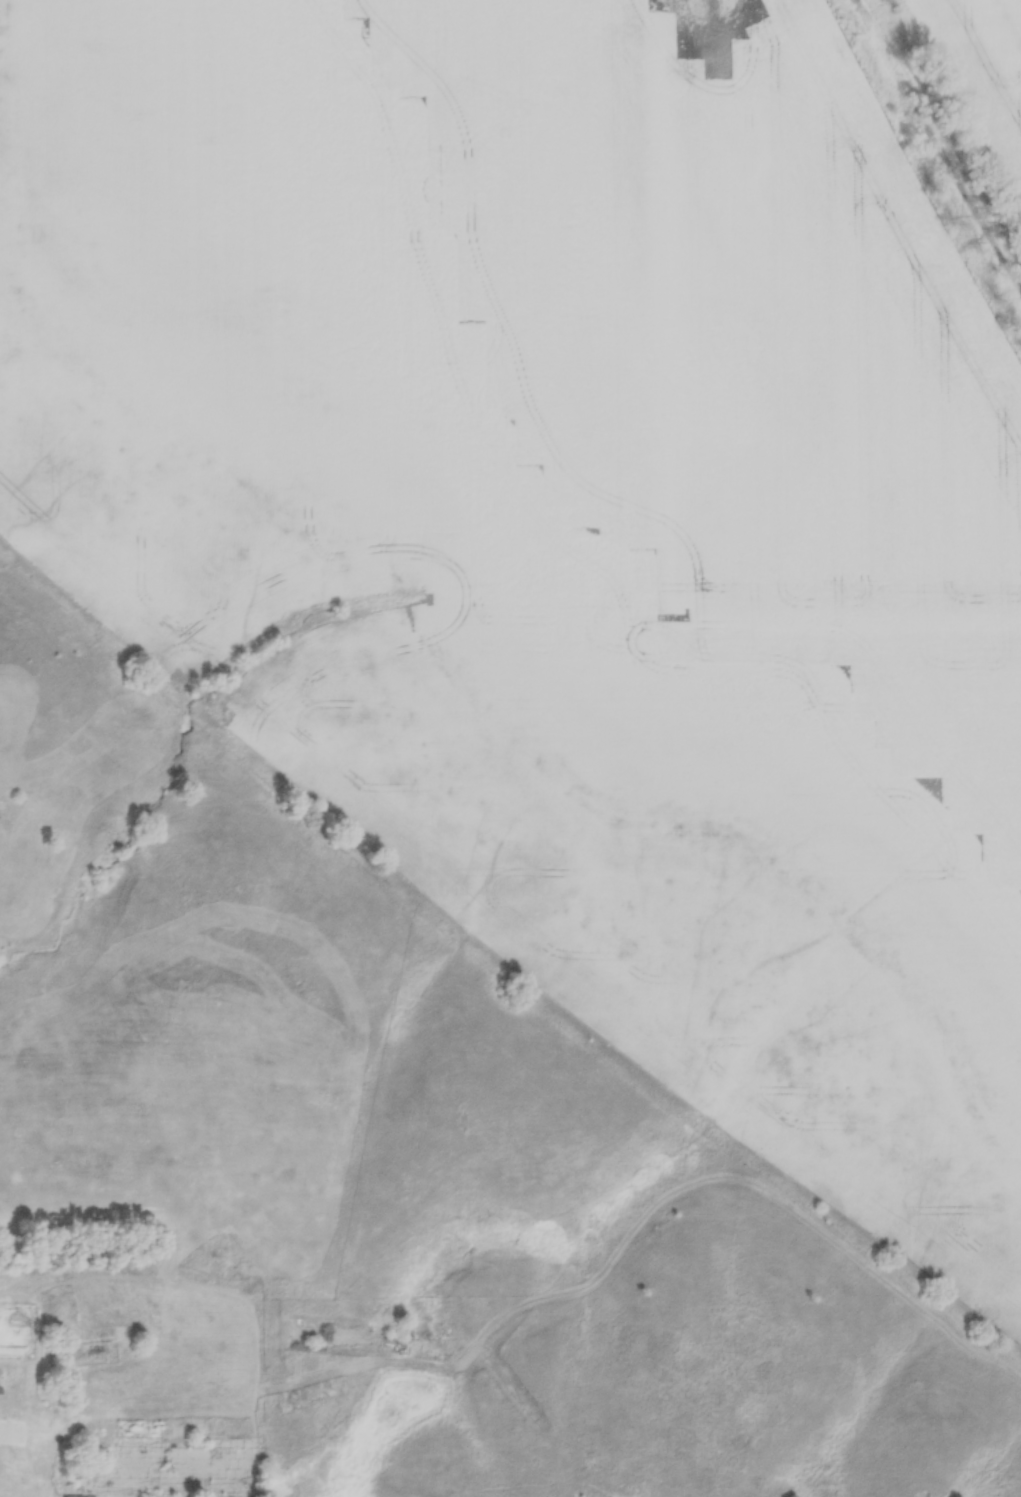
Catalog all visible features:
building: (137, 1425)
building: (37, 1432)
building: (76, 1495)

